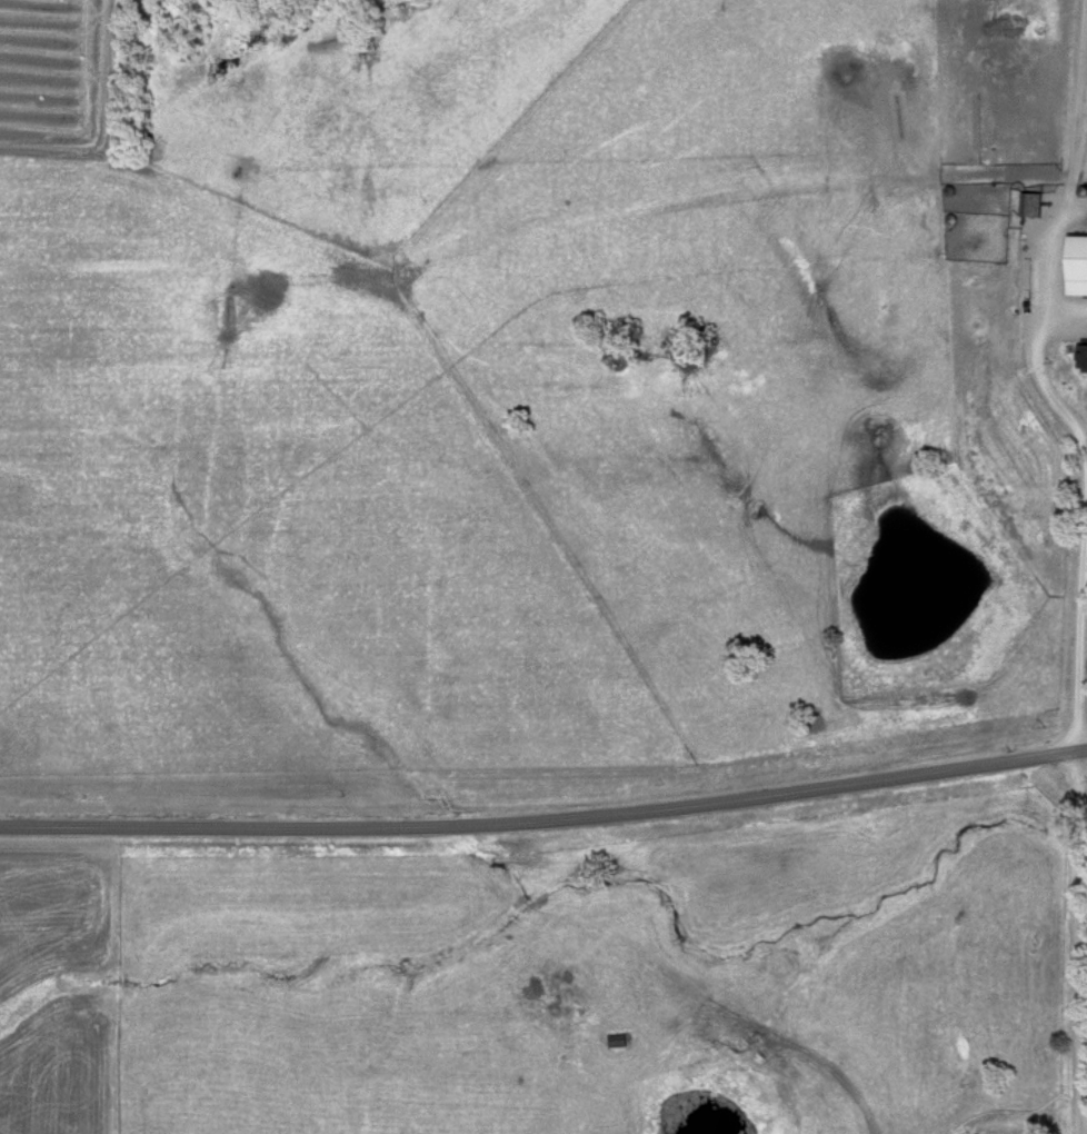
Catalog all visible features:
building: (1030, 207)
building: (1076, 269)
building: (1081, 360)
road: (1076, 762)
road: (546, 824)

